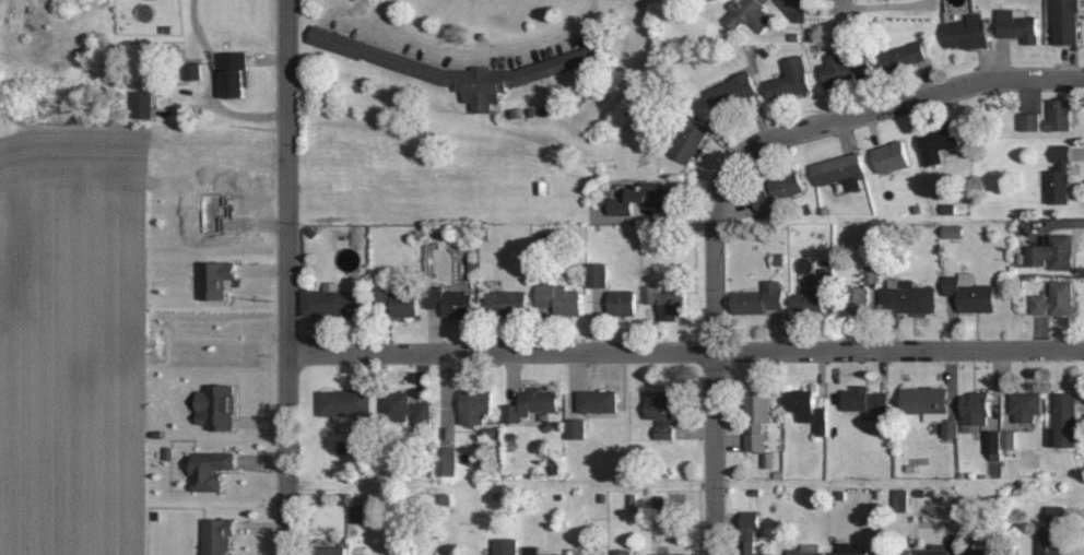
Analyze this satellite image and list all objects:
road: (882, 7)
building: (751, 15)
road: (798, 15)
building: (1067, 22)
building: (1020, 26)
building: (968, 33)
road: (480, 52)
building: (904, 57)
building: (452, 69)
building: (841, 71)
building: (192, 72)
building: (235, 75)
building: (790, 80)
building: (733, 95)
building: (143, 105)
road: (870, 110)
building: (1060, 116)
building: (692, 142)
building: (939, 145)
building: (892, 157)
building: (841, 172)
building: (1060, 178)
building: (646, 199)
building: (1052, 253)
building: (598, 274)
building: (872, 274)
road: (285, 277)
building: (216, 279)
building: (970, 293)
building: (885, 296)
building: (759, 298)
building: (559, 299)
building: (668, 299)
building: (812, 299)
building: (1054, 299)
building: (332, 302)
building: (452, 302)
building: (505, 302)
building: (623, 303)
building: (404, 304)
road: (684, 351)
road: (711, 390)
building: (864, 400)
building: (598, 401)
building: (345, 402)
building: (532, 404)
building: (476, 405)
building: (1025, 405)
building: (217, 406)
building: (762, 406)
building: (931, 406)
building: (809, 409)
building: (976, 411)
building: (662, 414)
building: (1064, 421)
building: (576, 428)
building: (1008, 440)
building: (755, 441)
building: (992, 441)
building: (213, 470)
building: (357, 513)
building: (750, 531)
building: (1052, 531)
building: (217, 536)
building: (505, 546)
building: (940, 548)
building: (850, 550)
building: (889, 550)
building: (329, 551)
building: (534, 551)
building: (621, 552)
building: (803, 552)
building: (978, 552)
building: (669, 554)

